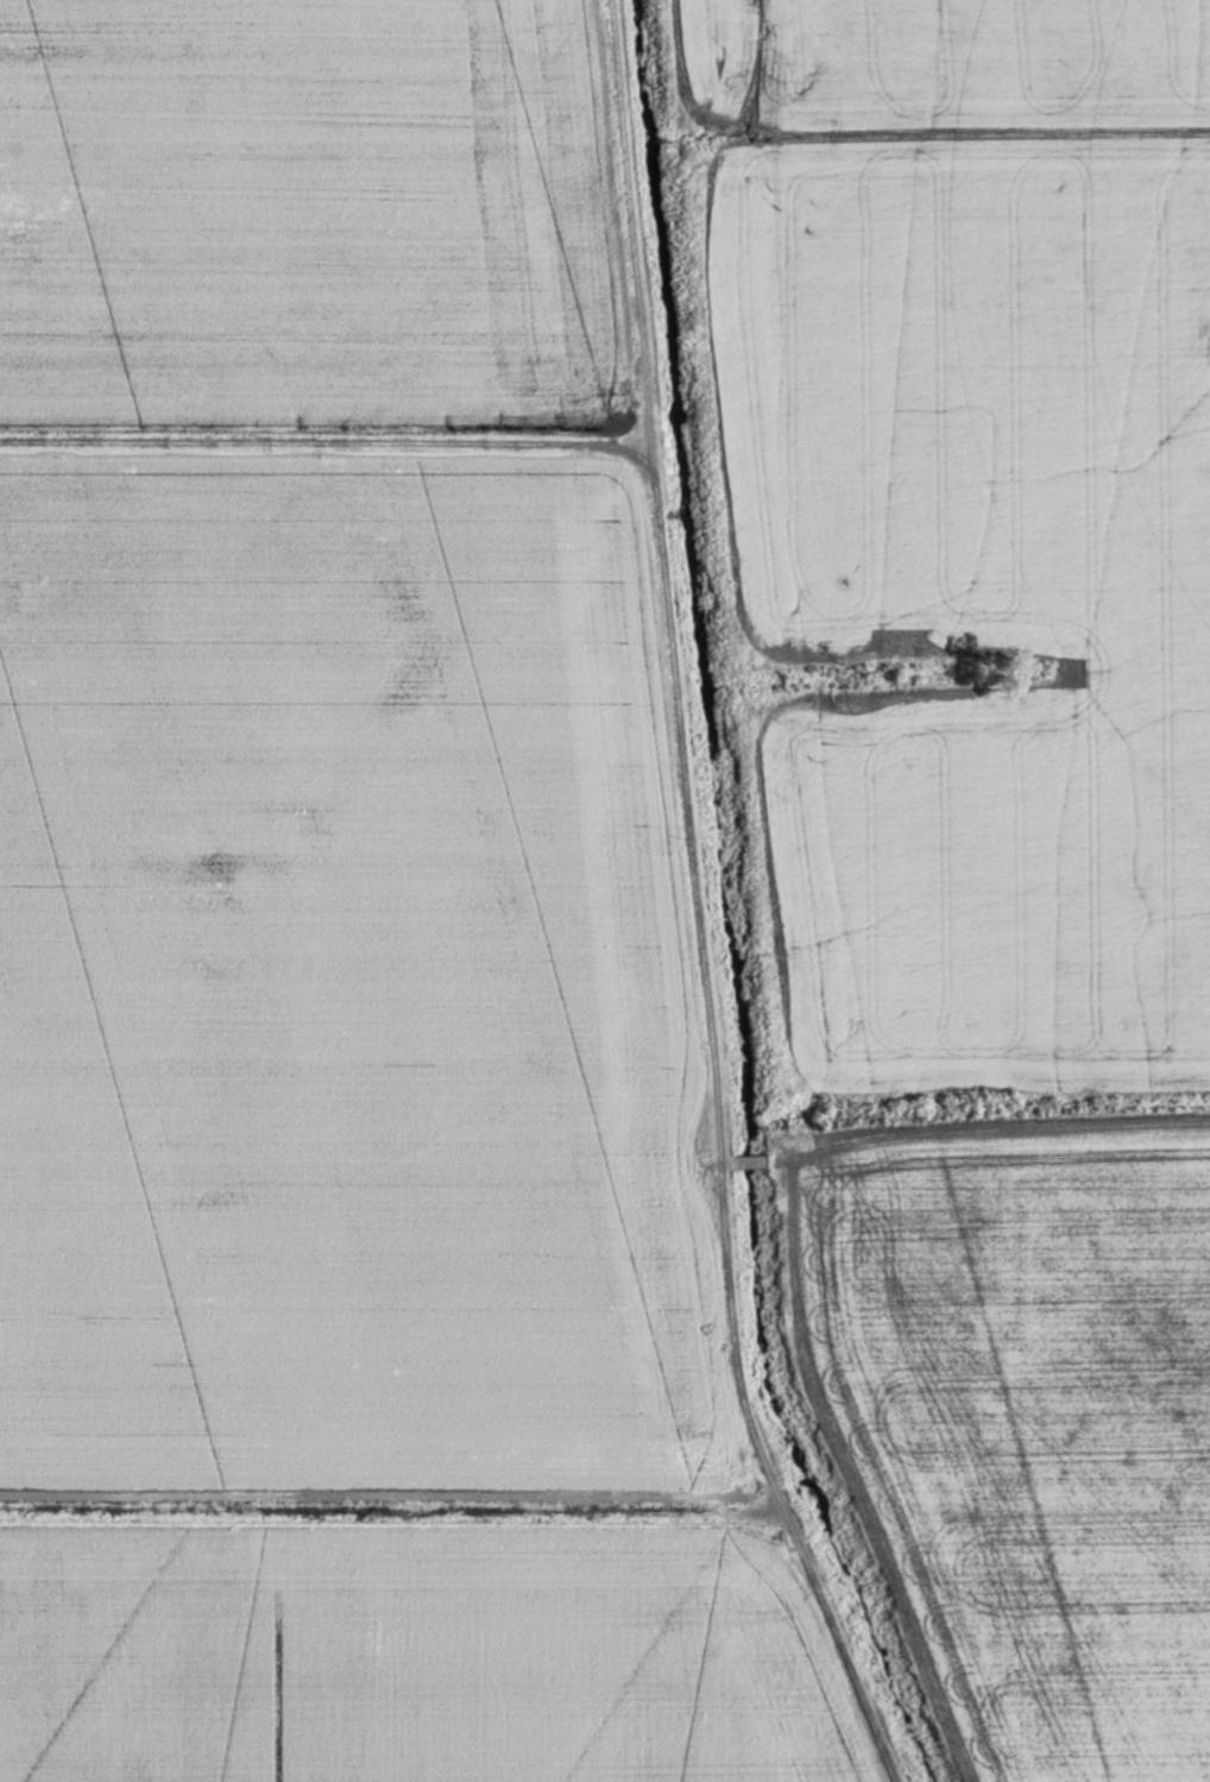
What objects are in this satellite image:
road: (699, 903)

